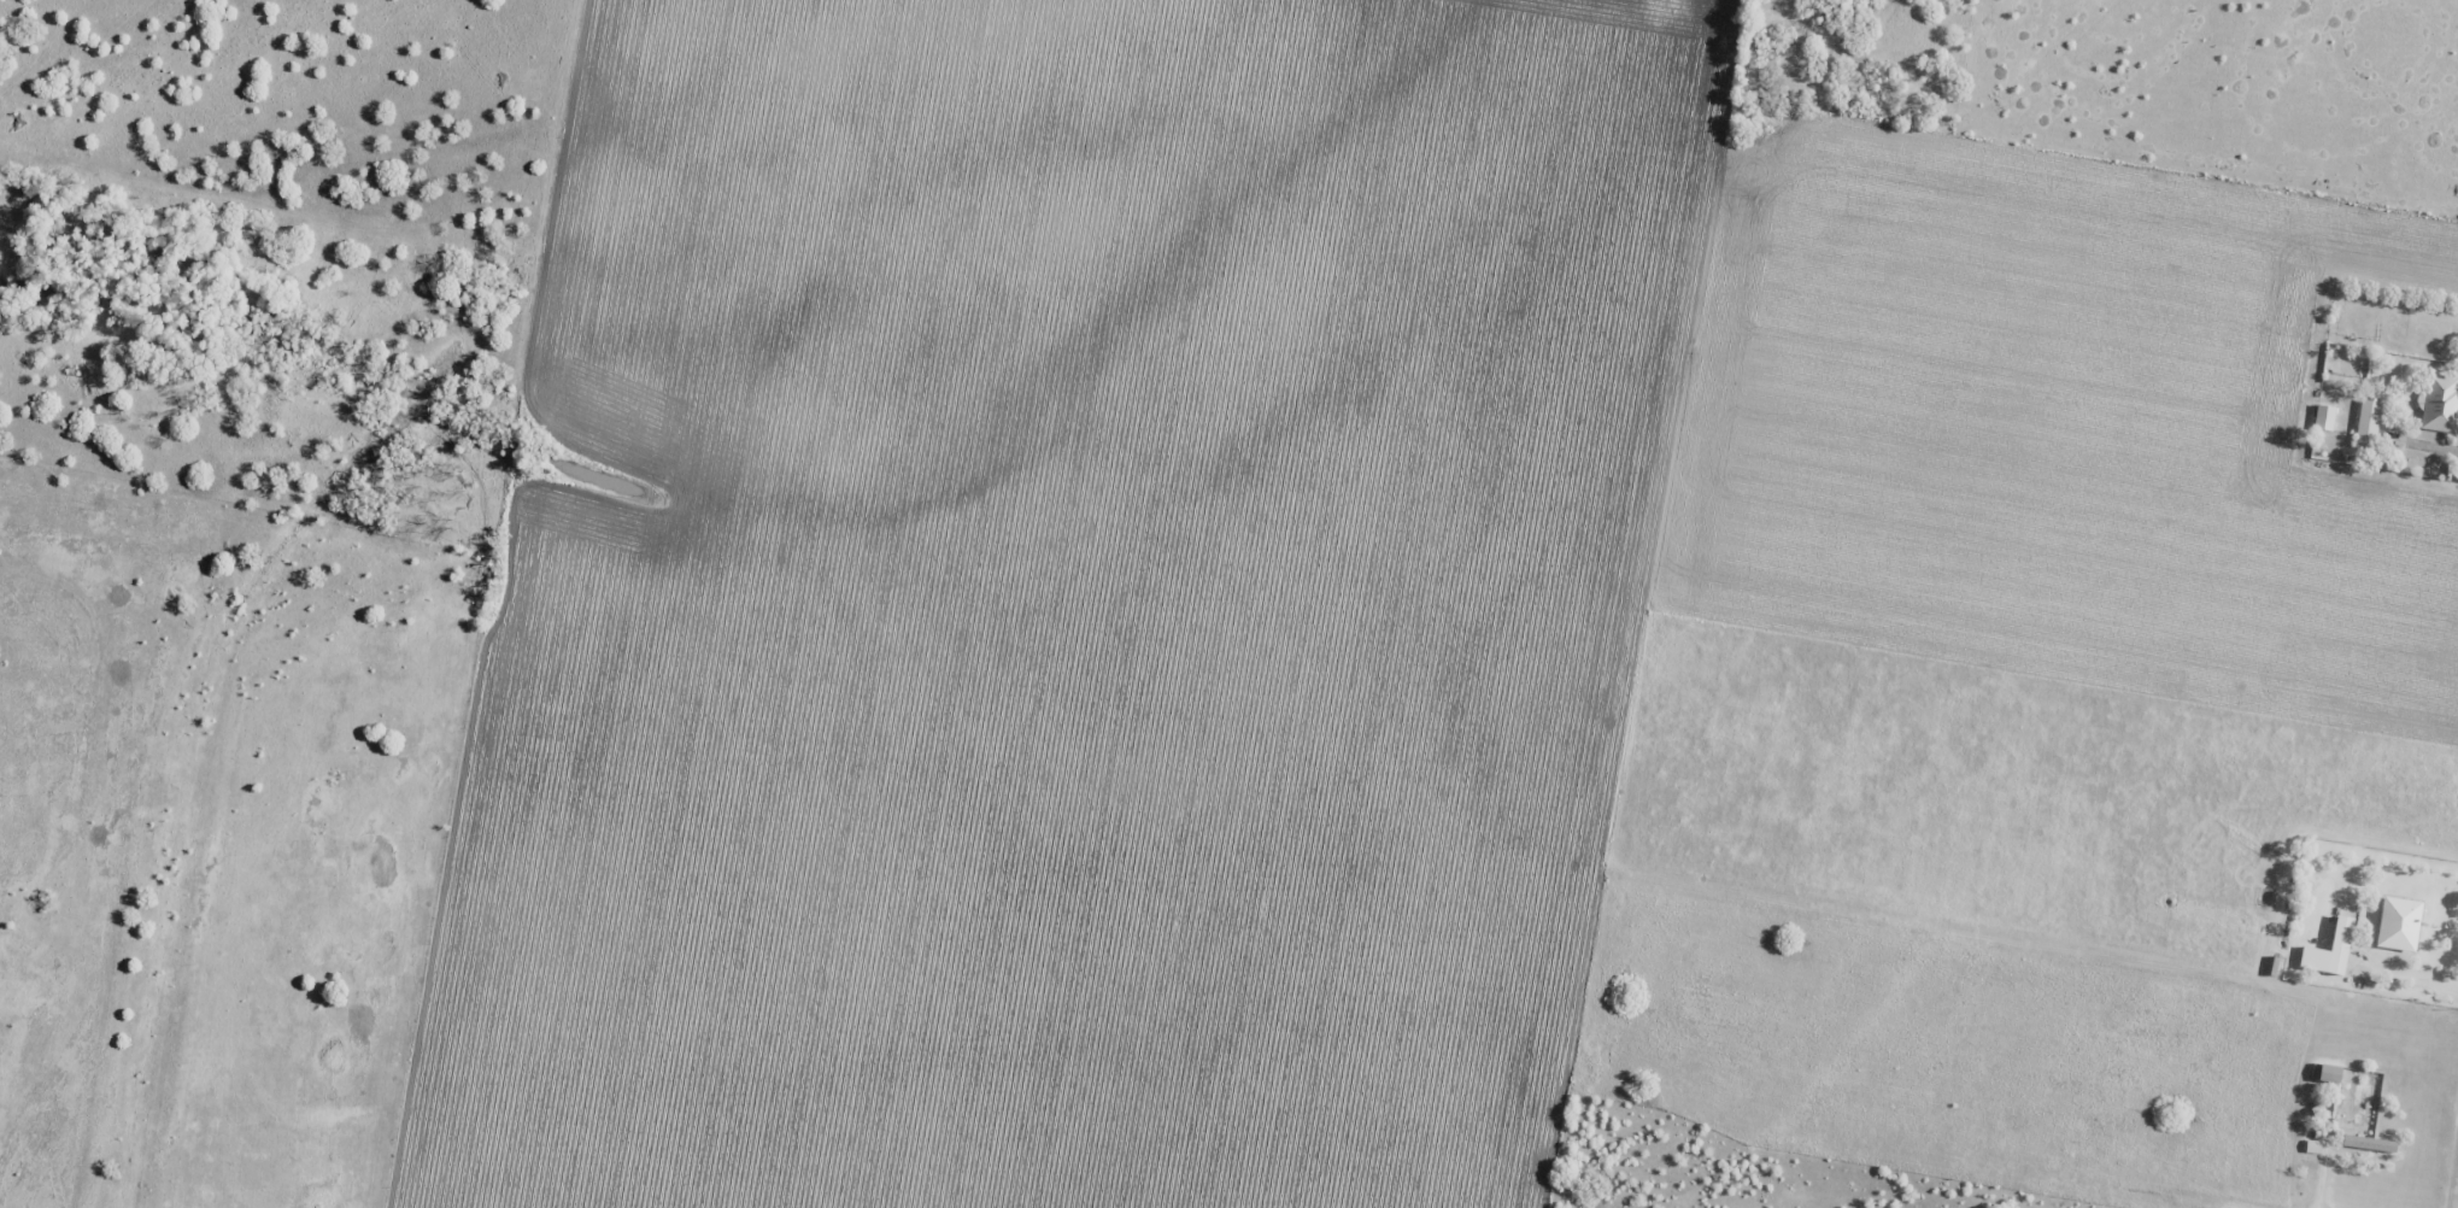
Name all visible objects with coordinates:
building: (2440, 403)
building: (2323, 418)
building: (2366, 422)
building: (2334, 939)
building: (2328, 1074)
building: (2368, 1143)

